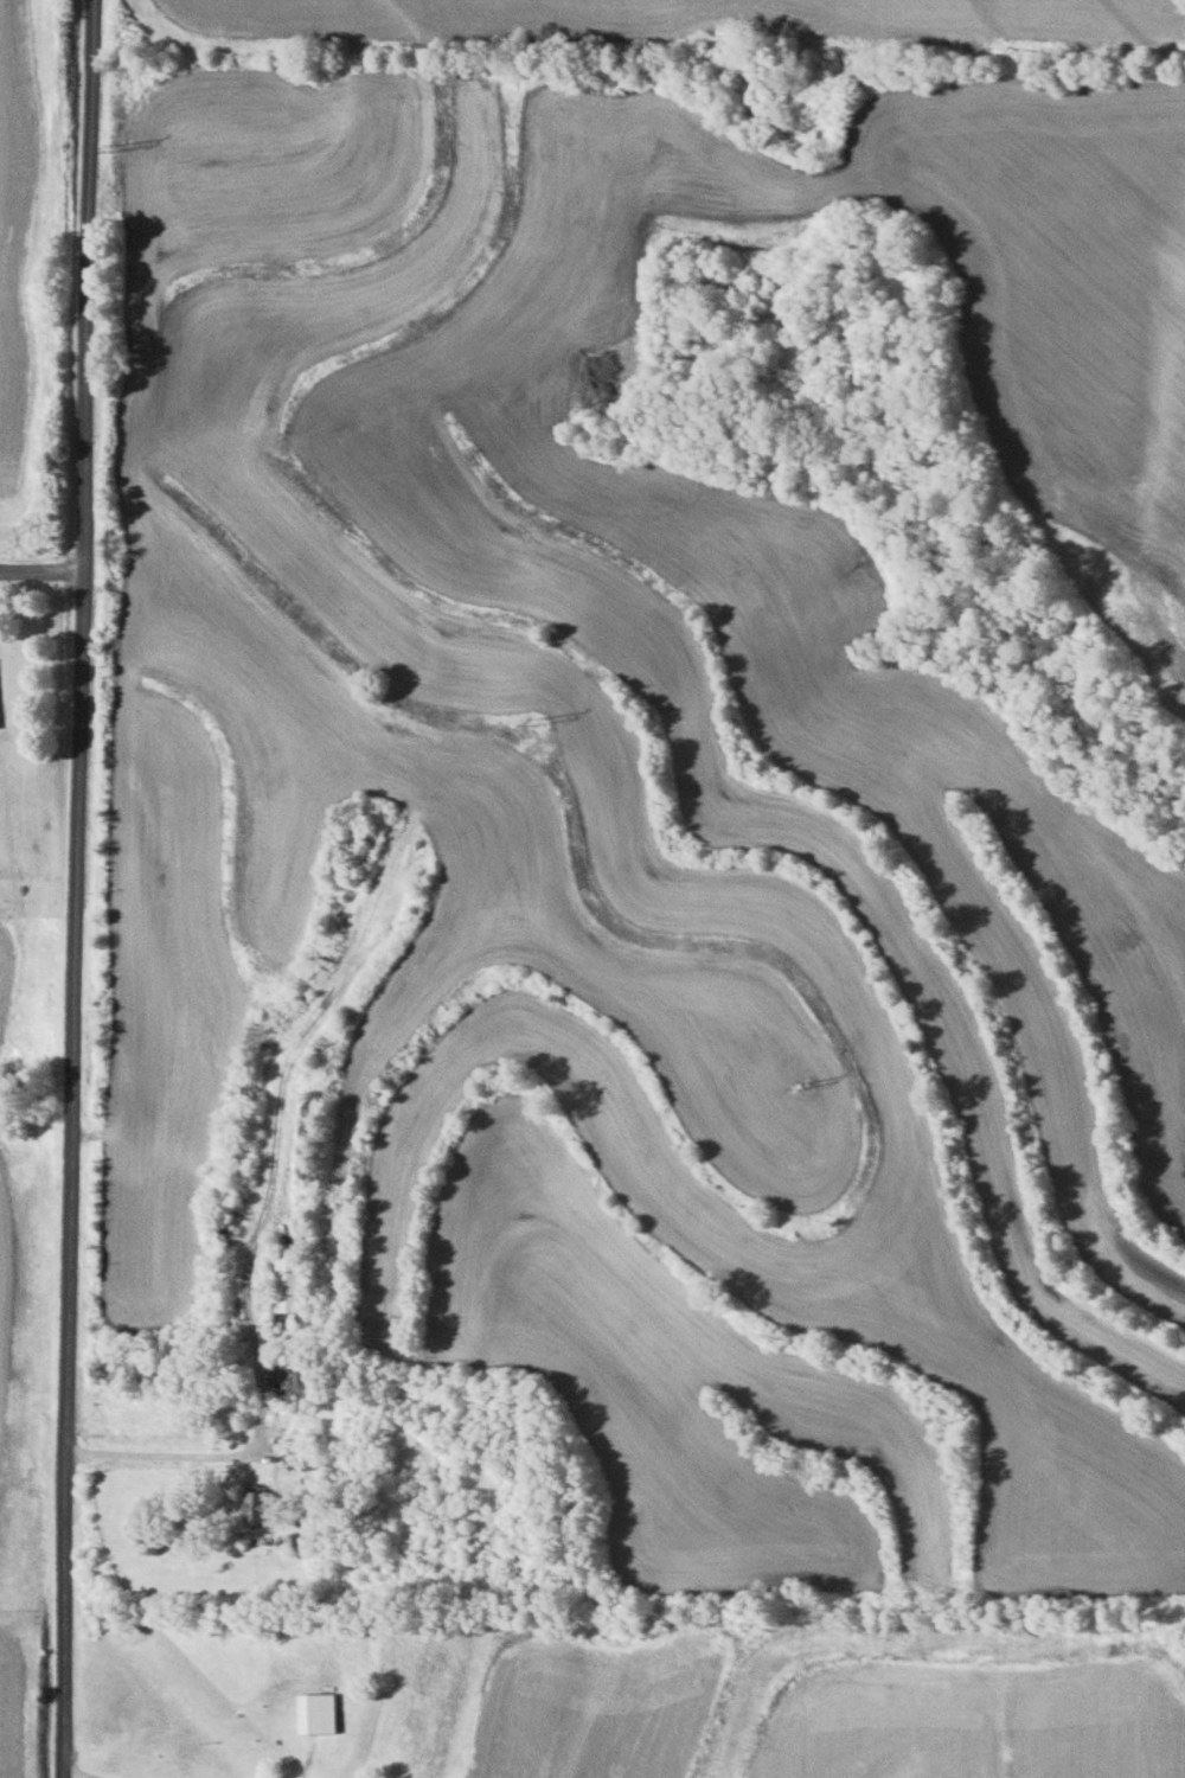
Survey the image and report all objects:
power tower: (116, 153)
road: (40, 567)
power tower: (527, 730)
building: (350, 852)
road: (75, 888)
power tower: (802, 1107)
building: (308, 1109)
building: (306, 1139)
building: (288, 1284)
building: (294, 1377)
road: (238, 1448)
building: (314, 1459)
building: (258, 1505)
power tower: (1167, 1604)
building: (315, 1713)
road: (62, 1777)

